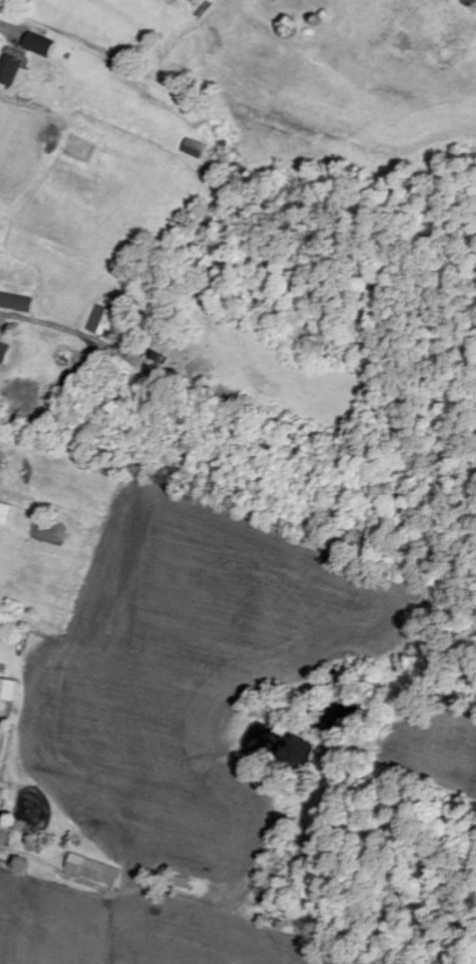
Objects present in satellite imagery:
building: (38, 46)
building: (9, 67)
building: (194, 150)
building: (16, 303)
building: (102, 321)
building: (3, 353)
building: (5, 515)
building: (8, 690)
building: (1, 795)
building: (4, 836)
building: (92, 870)

